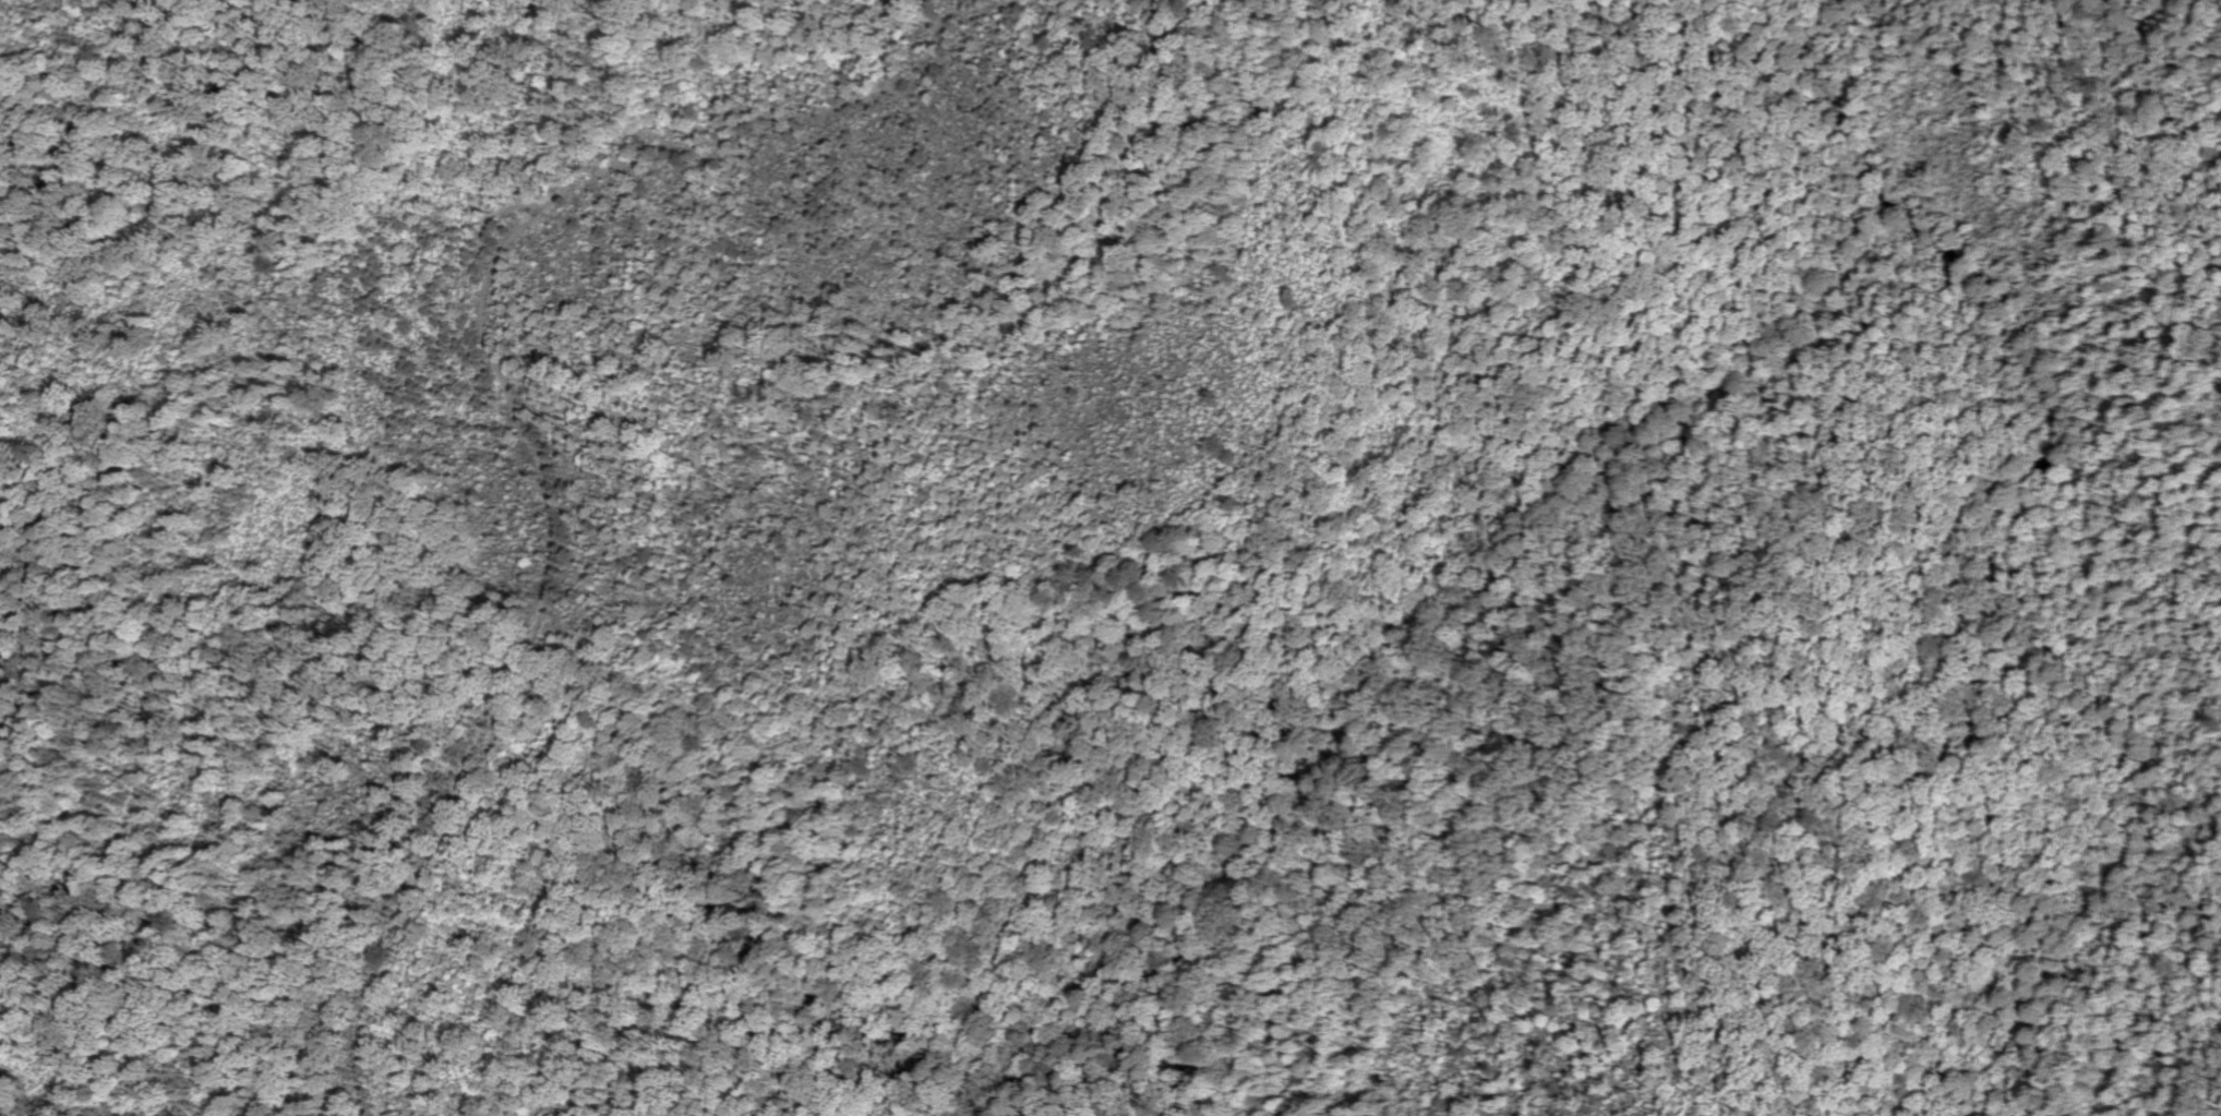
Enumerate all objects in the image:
road: (398, 941)

